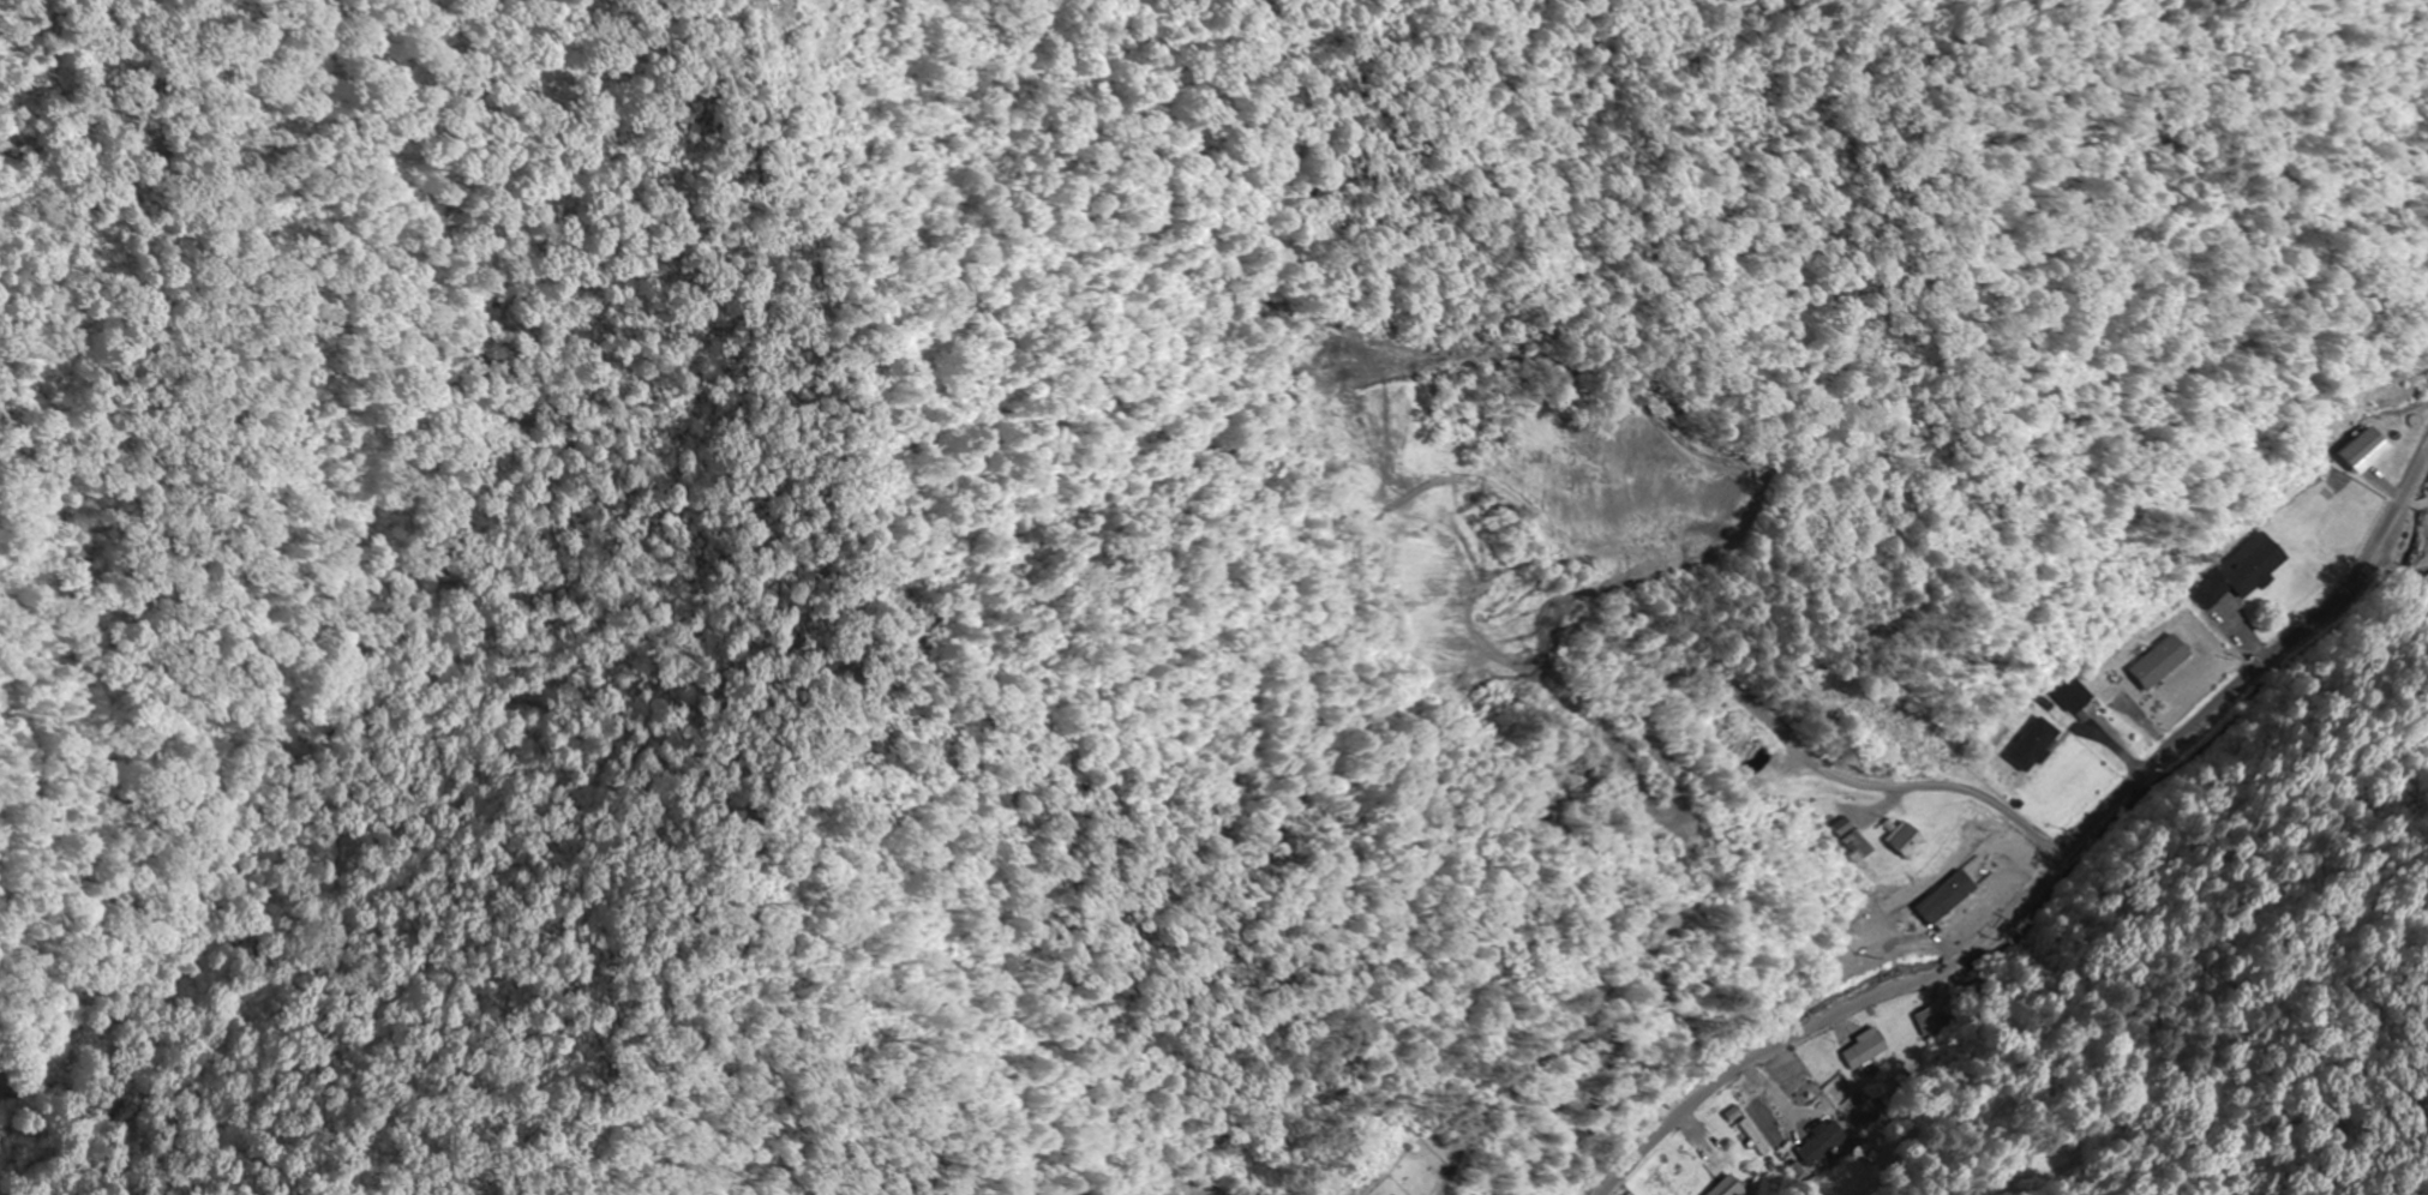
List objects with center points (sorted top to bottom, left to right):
building: (2393, 446)
building: (2250, 571)
building: (2168, 662)
building: (2042, 745)
building: (1910, 841)
building: (1860, 846)
road: (2058, 876)
building: (1934, 1020)
building: (1871, 1050)
building: (1776, 1122)
building: (1759, 1137)
building: (1828, 1146)
building: (1734, 1187)

